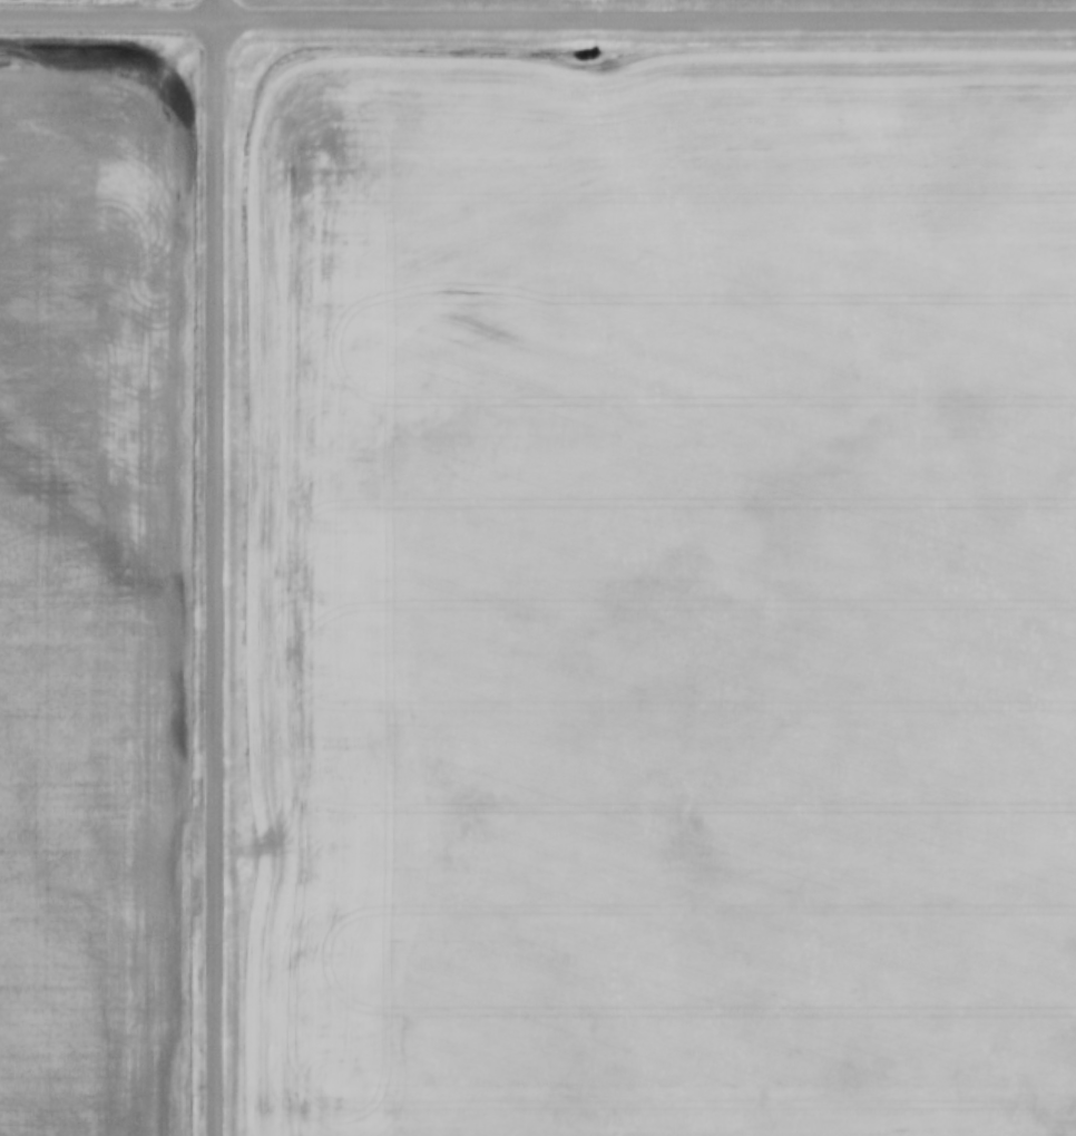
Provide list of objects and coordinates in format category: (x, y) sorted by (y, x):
road: (537, 18)
road: (216, 567)

